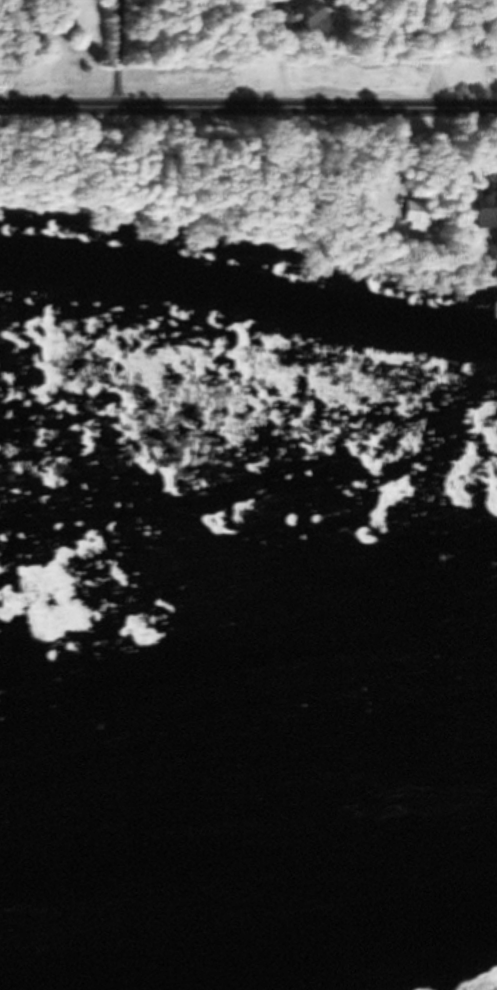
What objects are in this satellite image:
building: (58, 0)
building: (289, 1)
building: (309, 19)
road: (434, 68)
road: (237, 73)
road: (279, 75)
road: (247, 146)
building: (467, 221)
river: (248, 919)

